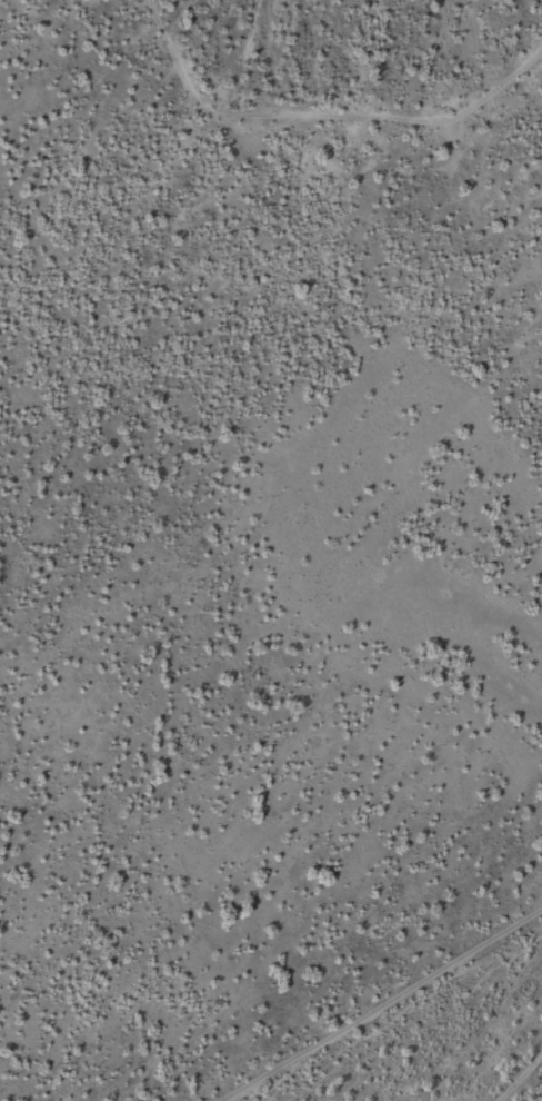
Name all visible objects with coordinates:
road: (371, 1012)

